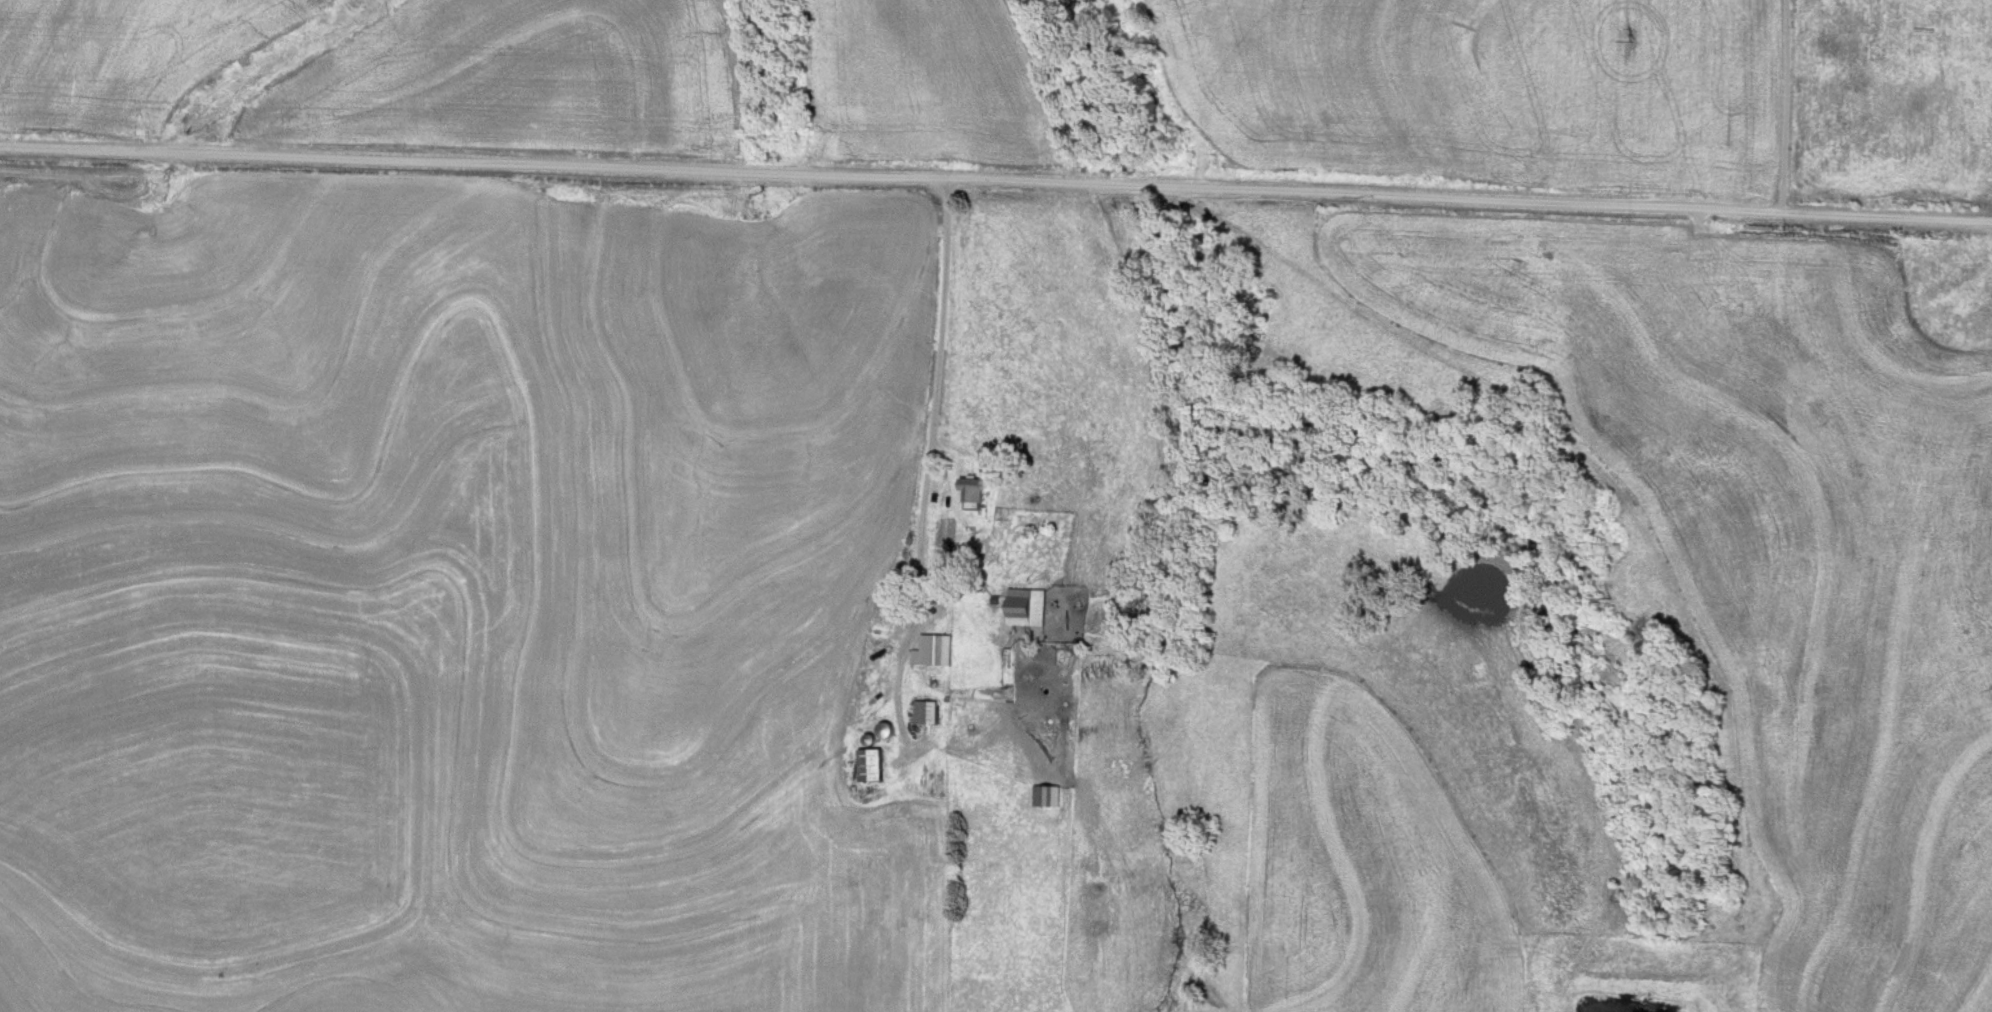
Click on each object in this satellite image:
road: (1789, 107)
road: (996, 169)
road: (928, 451)
building: (966, 492)
building: (1020, 608)
building: (937, 650)
building: (920, 713)
building: (879, 731)
building: (862, 765)
building: (1041, 796)

